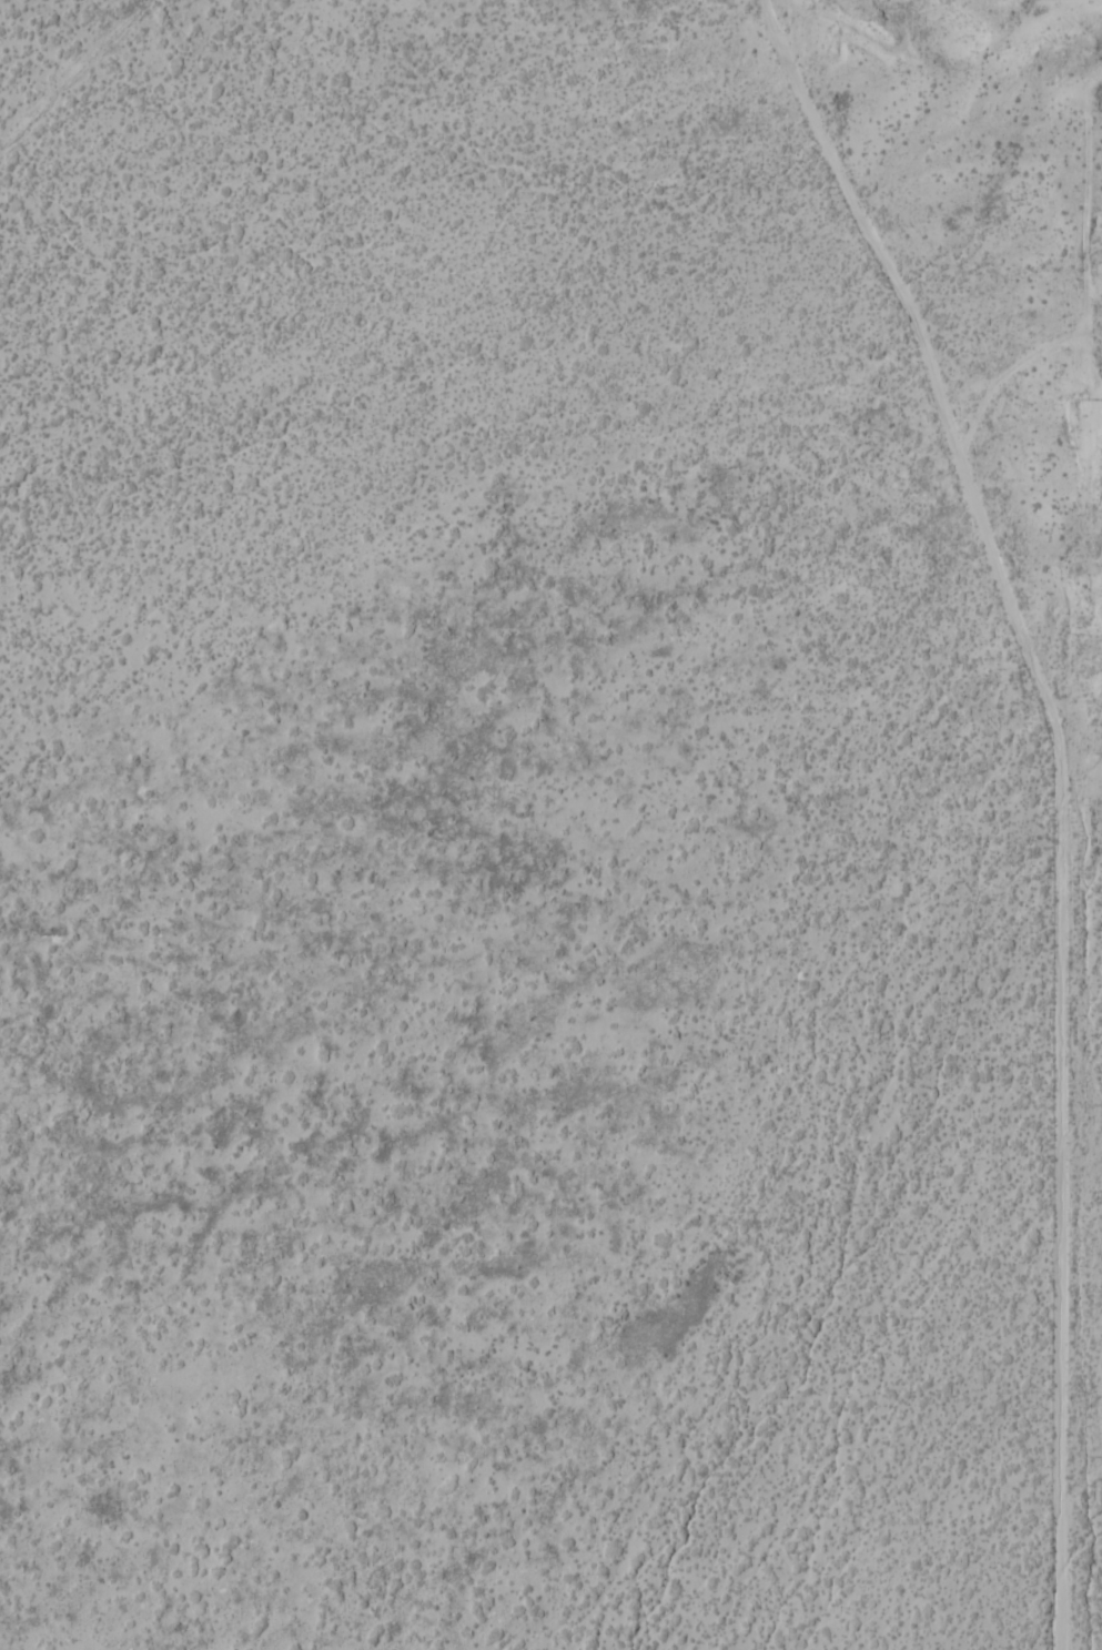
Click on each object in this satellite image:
power tower: (1085, 47)
power tower: (1083, 397)
power tower: (1086, 750)
road: (1055, 793)
power tower: (1082, 1105)
power tower: (1084, 1455)

